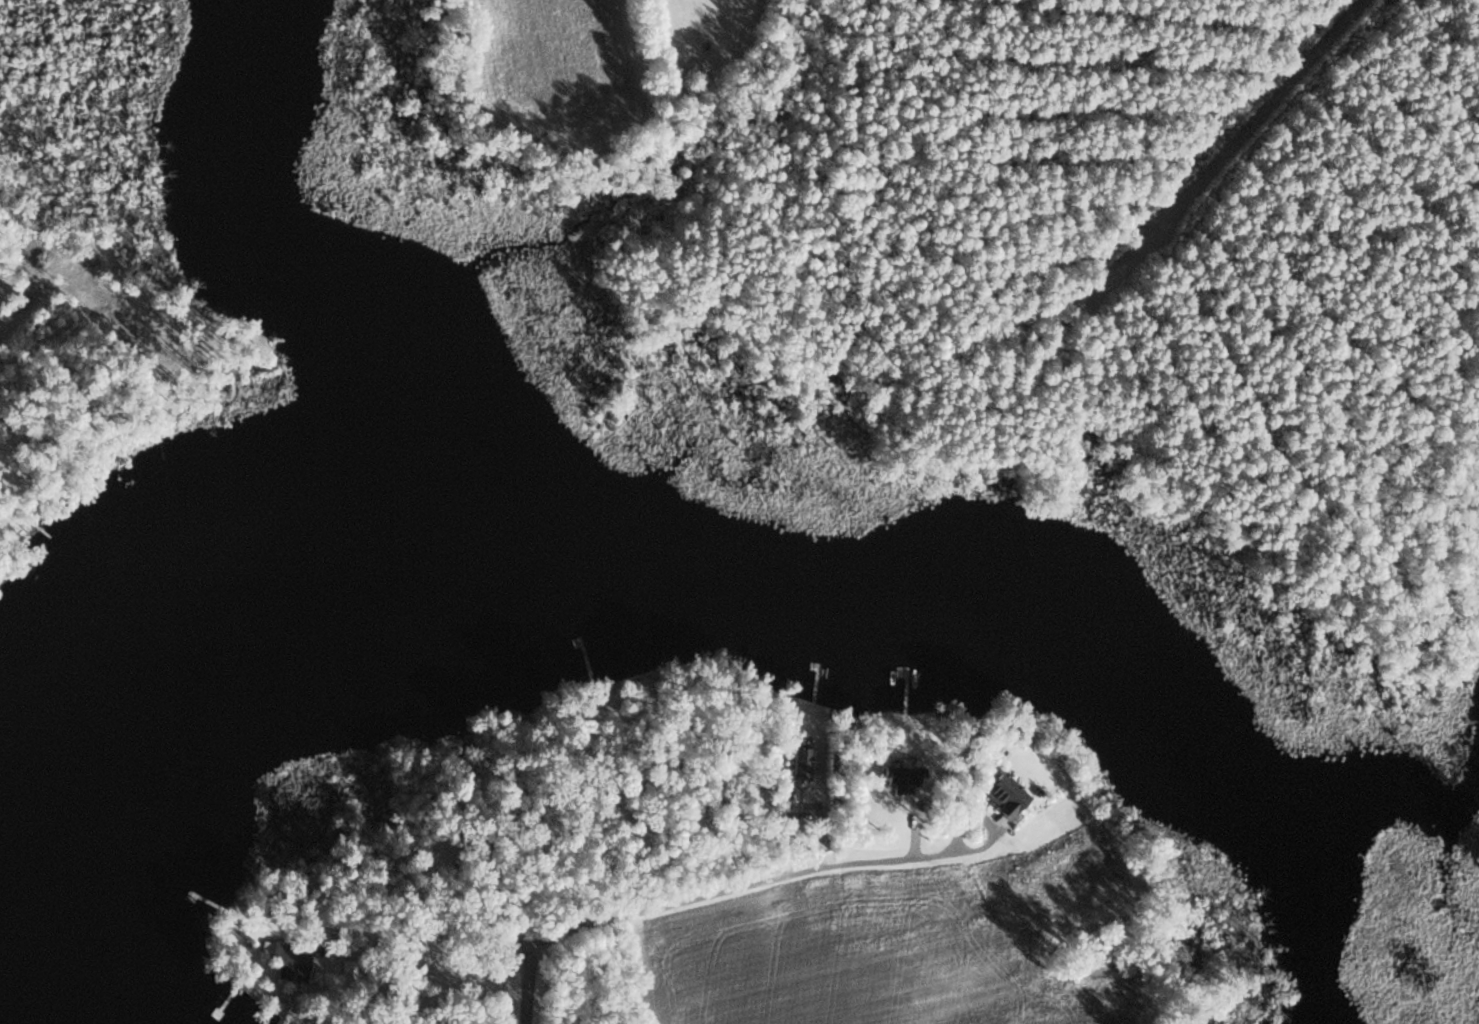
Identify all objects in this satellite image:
road: (1271, 104)
building: (799, 759)
building: (1004, 794)
road: (991, 838)
road: (684, 899)
road: (425, 963)

